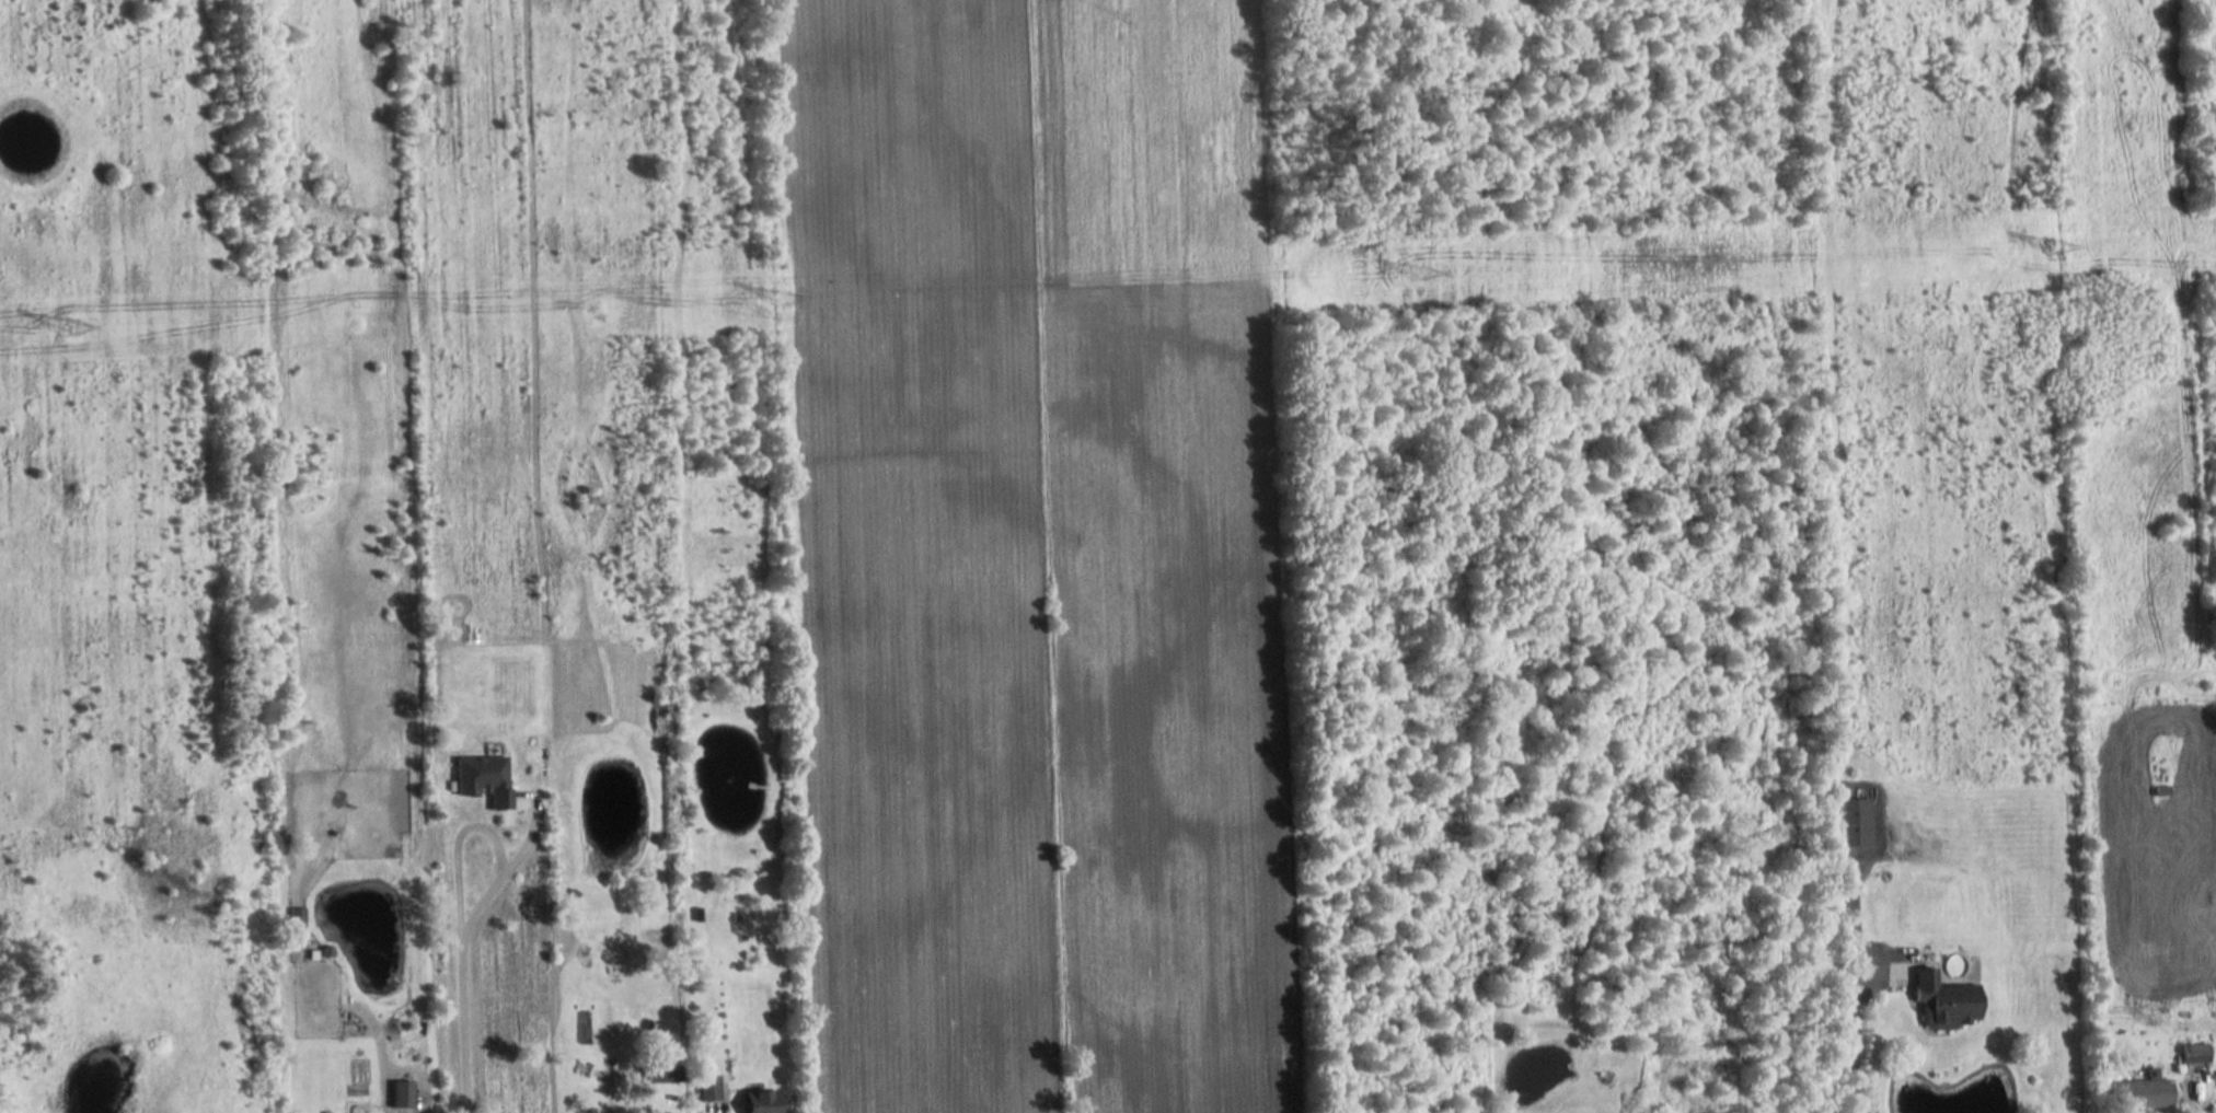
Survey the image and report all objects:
power tower: (2052, 245)
power tower: (1412, 277)
power tower: (773, 302)
power tower: (72, 329)
crop: (1164, 554)
crop: (913, 558)
building: (478, 780)
building: (1851, 823)
road: (459, 953)
building: (1940, 1002)
road: (1847, 1039)
building: (2213, 1054)
building: (2190, 1055)
building: (657, 1075)
building: (705, 1090)
building: (2137, 1095)
road: (2190, 1097)
building: (755, 1102)

